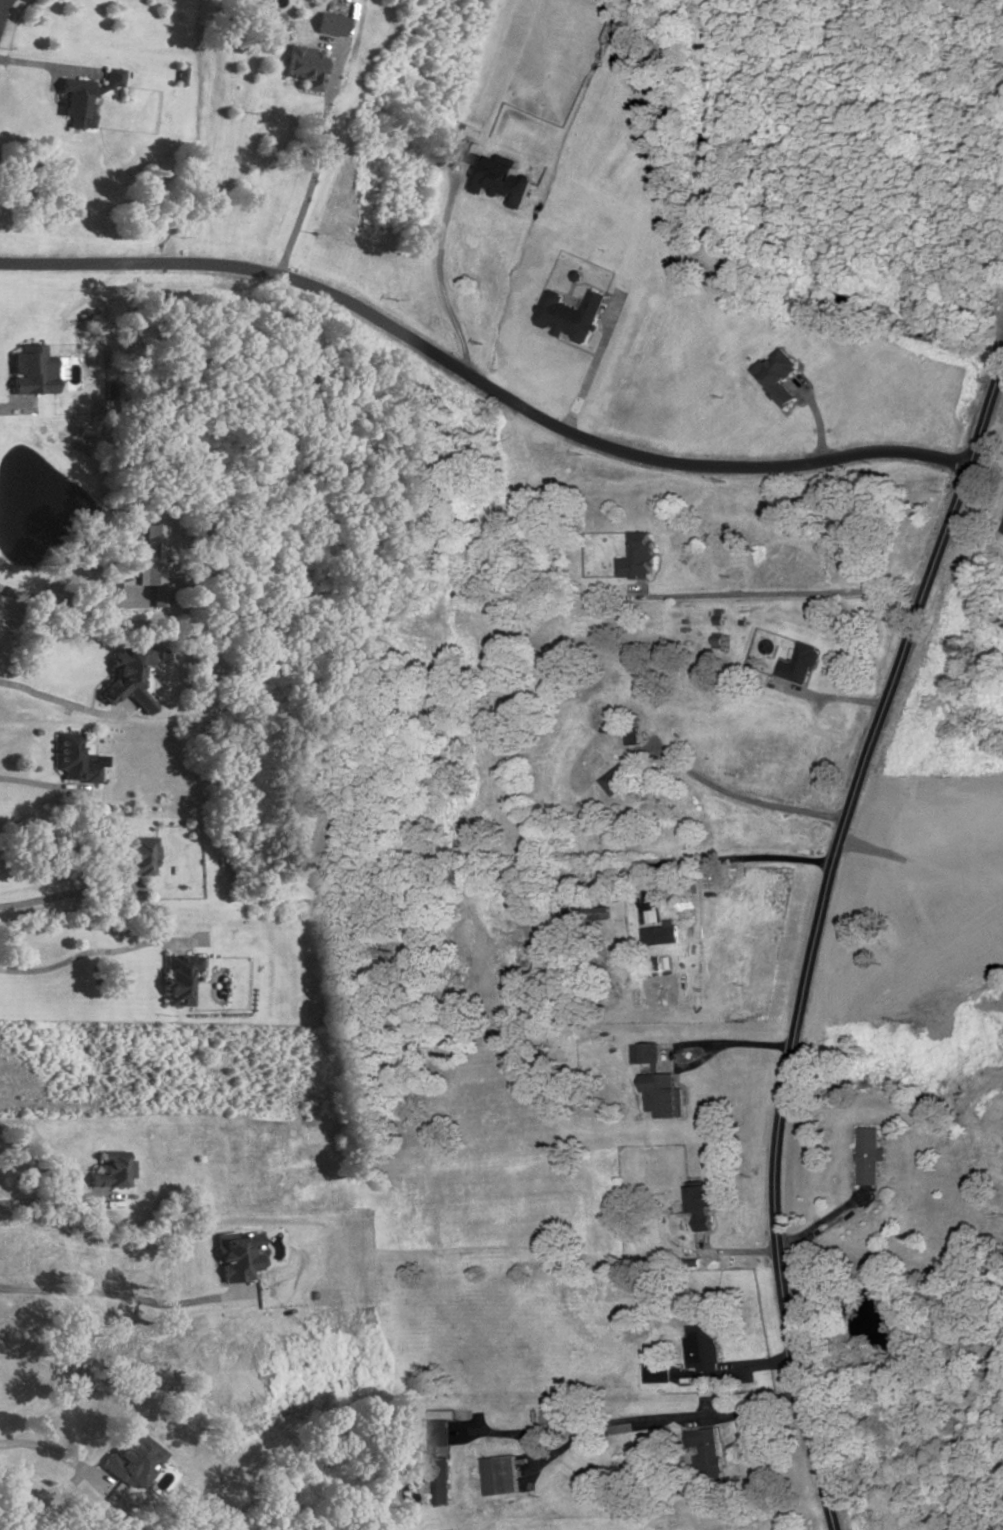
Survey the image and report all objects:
road: (2, 7)
building: (330, 25)
road: (47, 66)
building: (305, 68)
building: (84, 99)
road: (318, 164)
building: (494, 175)
road: (443, 273)
building: (571, 315)
road: (578, 349)
road: (594, 364)
building: (29, 372)
building: (776, 378)
road: (482, 382)
road: (12, 409)
road: (817, 419)
building: (1002, 528)
building: (1002, 531)
road: (970, 542)
building: (636, 559)
building: (151, 566)
road: (783, 594)
road: (68, 605)
building: (718, 617)
building: (717, 641)
building: (798, 664)
building: (129, 680)
road: (95, 685)
road: (832, 699)
road: (85, 710)
building: (633, 728)
building: (72, 761)
building: (619, 780)
road: (38, 786)
road: (741, 798)
road: (779, 855)
building: (136, 859)
road: (68, 896)
building: (599, 907)
building: (662, 937)
road: (816, 941)
road: (93, 953)
building: (177, 979)
road: (694, 1045)
building: (650, 1054)
building: (665, 1095)
building: (870, 1158)
building: (110, 1172)
road: (57, 1199)
building: (701, 1204)
road: (824, 1226)
road: (745, 1252)
building: (236, 1254)
road: (106, 1295)
building: (703, 1349)
road: (737, 1370)
building: (658, 1373)
building: (556, 1413)
road: (637, 1422)
road: (52, 1456)
building: (707, 1456)
building: (133, 1463)
building: (440, 1465)
building: (502, 1476)

